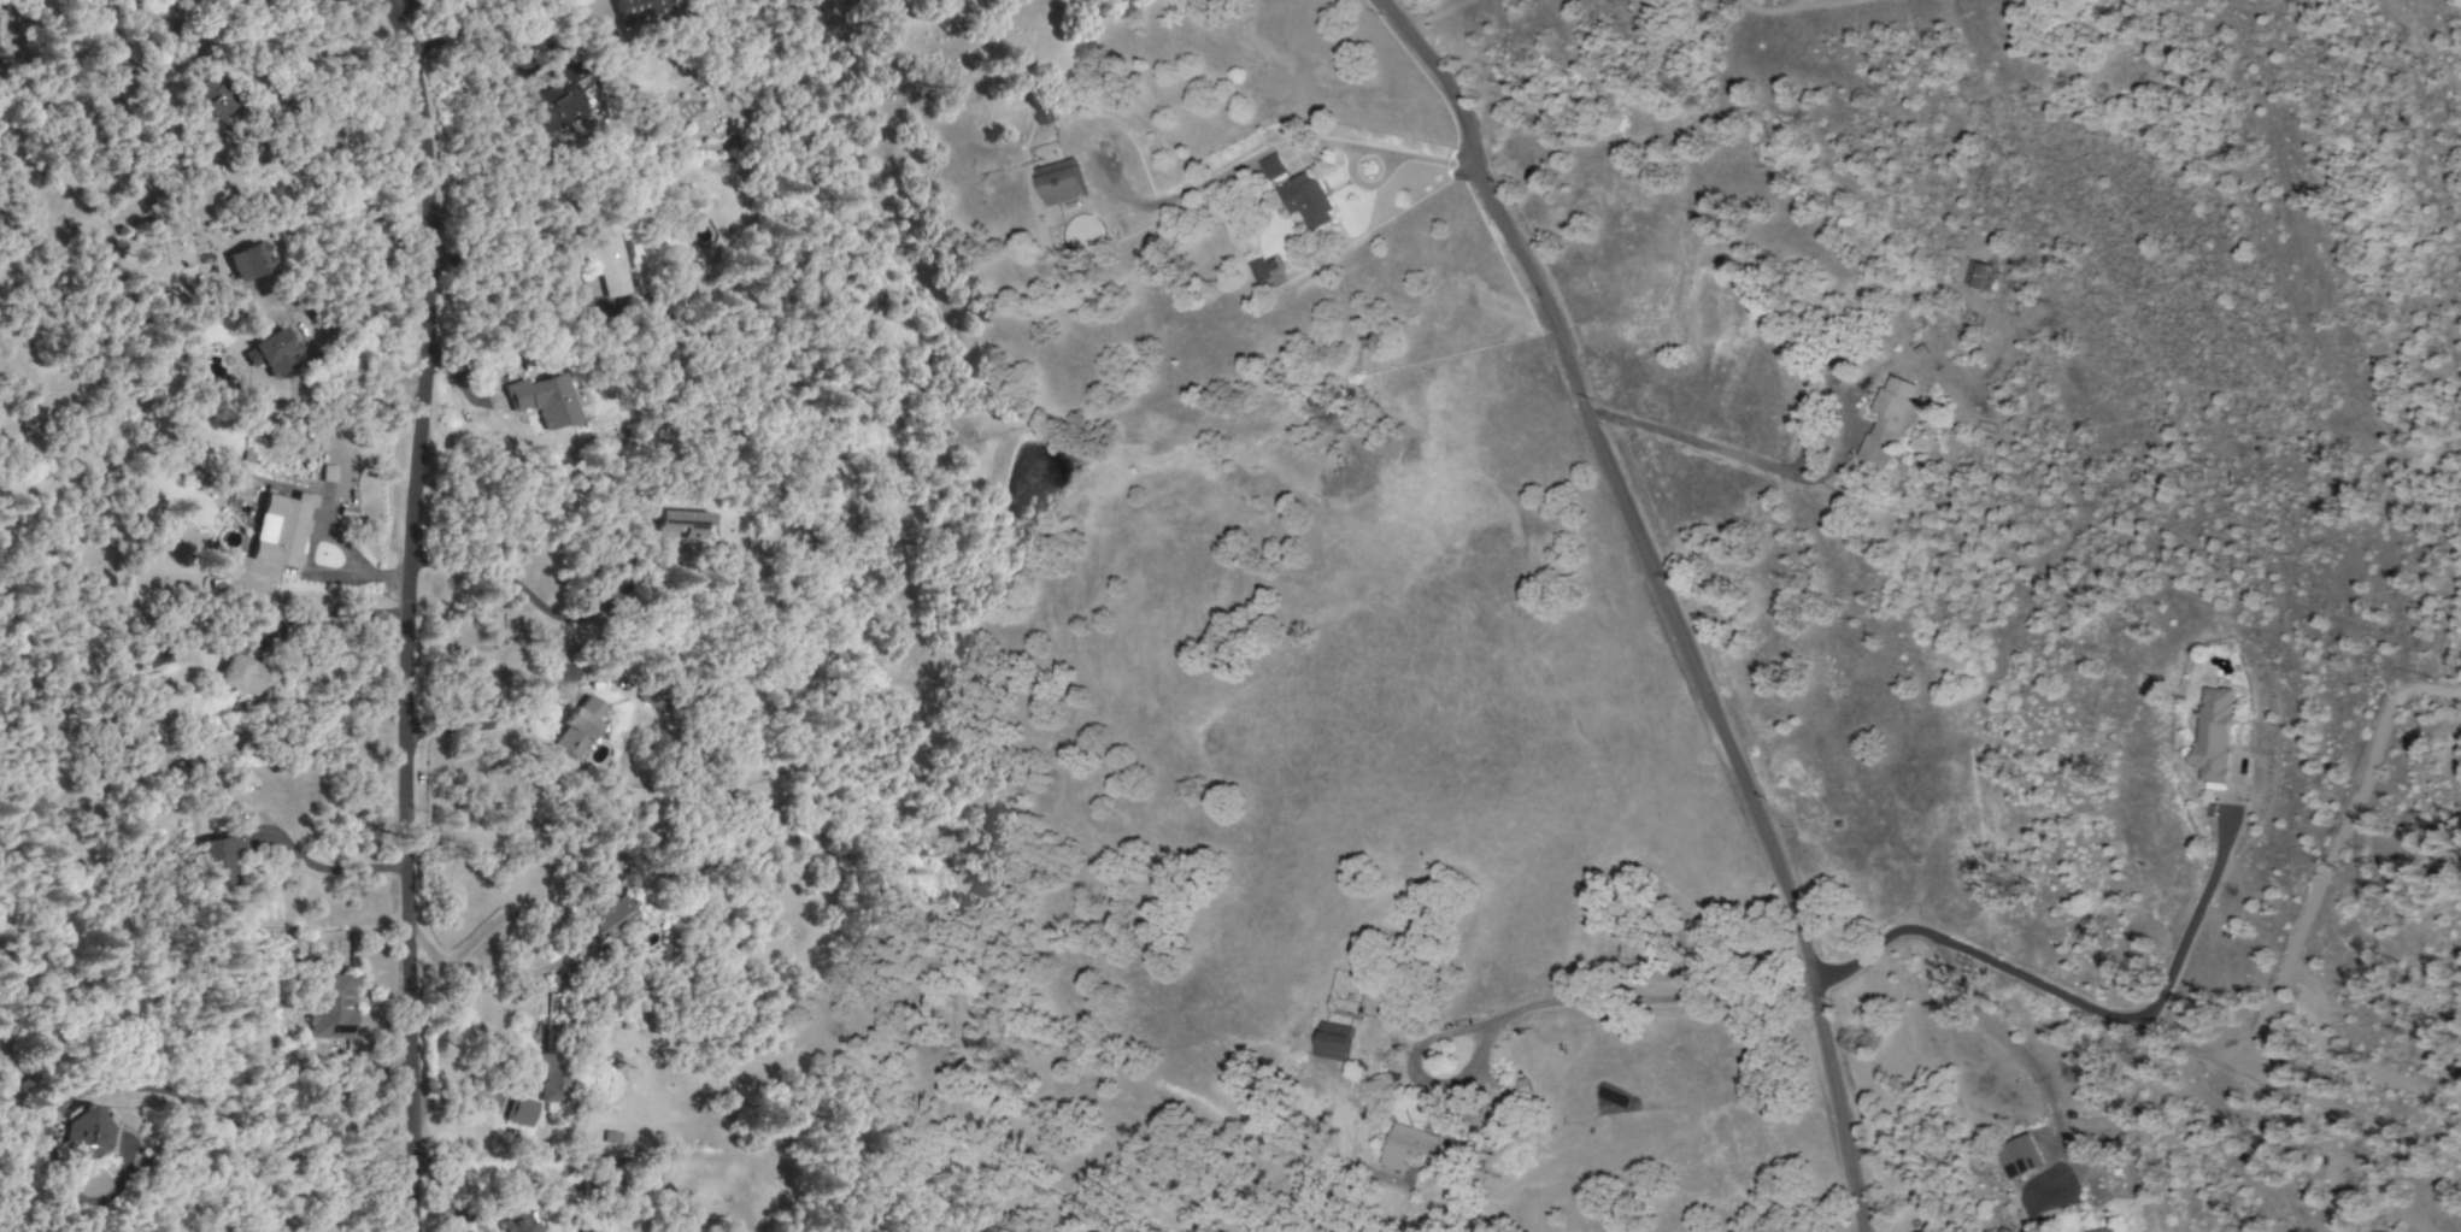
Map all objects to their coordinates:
building: (635, 8)
road: (2416, 33)
building: (206, 95)
building: (562, 101)
road: (1385, 152)
building: (1271, 166)
building: (1059, 182)
building: (1304, 200)
building: (376, 240)
building: (606, 259)
building: (248, 261)
building: (1264, 272)
building: (1979, 276)
building: (275, 352)
building: (544, 400)
building: (1885, 419)
road: (1693, 444)
building: (683, 524)
building: (280, 529)
road: (304, 578)
road: (1661, 597)
road: (535, 601)
road: (410, 611)
road: (335, 623)
building: (241, 674)
road: (481, 725)
building: (577, 727)
building: (2213, 733)
building: (219, 859)
road: (328, 874)
building: (607, 916)
road: (558, 962)
road: (2060, 991)
road: (1543, 1003)
building: (330, 1006)
building: (1332, 1041)
building: (552, 1075)
building: (519, 1110)
building: (324, 1120)
building: (84, 1131)
road: (274, 1134)
building: (1406, 1145)
building: (2017, 1156)
building: (516, 1225)
building: (2102, 1230)

